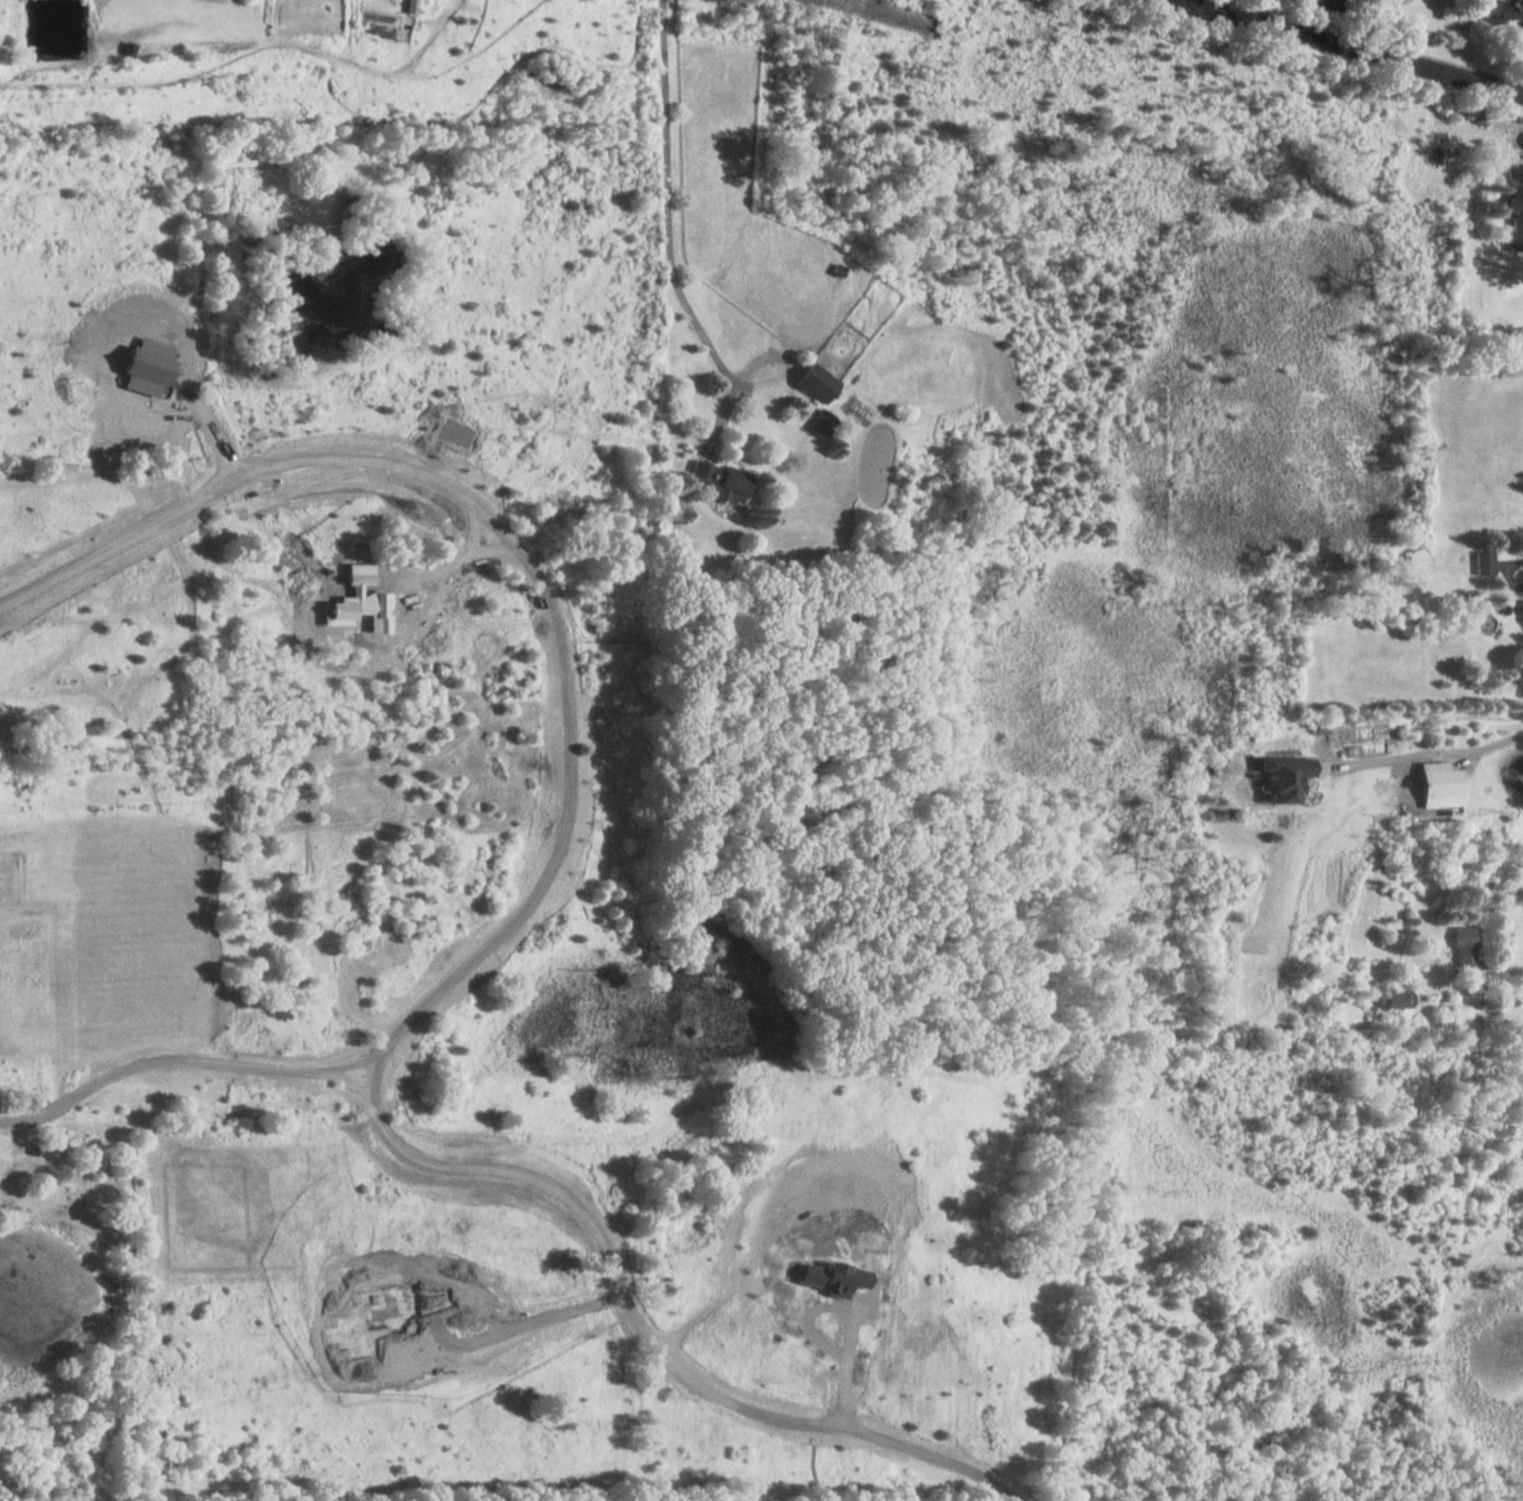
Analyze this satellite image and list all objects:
building: (1499, 11)
road: (1347, 48)
road: (668, 198)
building: (1516, 219)
building: (816, 383)
building: (821, 424)
building: (720, 482)
road: (1509, 557)
building: (1484, 563)
building: (1521, 608)
road: (1431, 749)
building: (1281, 780)
building: (1439, 780)
road: (500, 941)
building: (1465, 948)
road: (1518, 981)
road: (181, 1062)
road: (501, 1341)
road: (844, 1365)

